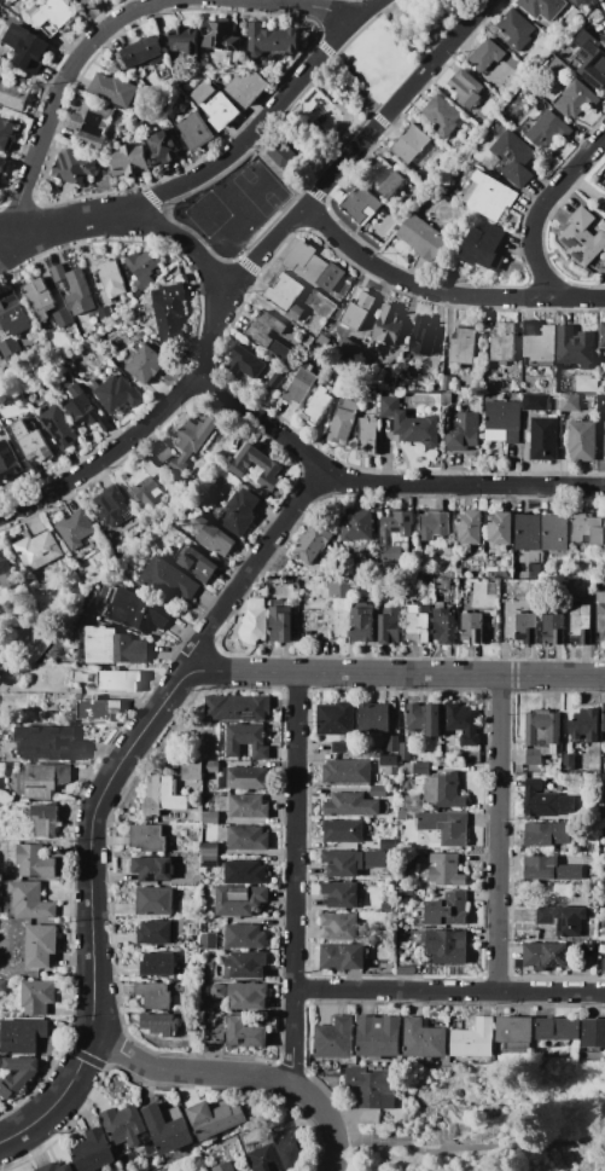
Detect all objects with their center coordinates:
building: (7, 2)
building: (576, 2)
road: (313, 7)
building: (543, 8)
building: (53, 16)
building: (516, 29)
building: (220, 36)
building: (181, 40)
building: (270, 41)
building: (27, 48)
road: (325, 48)
building: (142, 52)
building: (487, 54)
building: (235, 58)
building: (589, 59)
building: (142, 65)
building: (0, 71)
building: (0, 75)
road: (355, 81)
building: (245, 88)
building: (465, 88)
building: (114, 89)
road: (59, 92)
building: (202, 92)
building: (13, 97)
building: (180, 97)
building: (576, 99)
road: (285, 109)
building: (187, 110)
building: (219, 110)
building: (444, 117)
road: (379, 120)
building: (91, 124)
park: (321, 126)
building: (194, 131)
building: (548, 131)
building: (6, 135)
building: (118, 137)
building: (409, 143)
building: (163, 146)
building: (426, 152)
building: (281, 155)
building: (437, 157)
building: (514, 157)
building: (129, 160)
building: (2, 164)
road: (211, 164)
building: (75, 167)
road: (275, 169)
building: (388, 178)
building: (603, 178)
road: (314, 190)
building: (488, 196)
road: (151, 197)
building: (361, 204)
road: (541, 208)
building: (385, 210)
road: (274, 219)
road: (5, 233)
building: (423, 237)
building: (582, 238)
road: (184, 243)
building: (482, 243)
road: (246, 265)
building: (142, 268)
road: (248, 271)
building: (58, 272)
building: (319, 272)
building: (111, 279)
building: (258, 288)
building: (78, 292)
building: (284, 292)
building: (138, 294)
road: (440, 294)
building: (39, 297)
building: (356, 309)
building: (165, 313)
building: (295, 313)
building: (105, 314)
building: (13, 315)
building: (62, 318)
building: (388, 326)
building: (531, 327)
building: (263, 329)
building: (603, 335)
building: (423, 336)
building: (118, 341)
building: (324, 342)
building: (502, 342)
building: (575, 346)
building: (10, 347)
building: (464, 347)
building: (541, 348)
building: (347, 349)
building: (285, 352)
building: (145, 363)
building: (244, 363)
building: (409, 375)
building: (388, 378)
building: (274, 381)
building: (447, 382)
building: (489, 384)
building: (299, 388)
building: (372, 388)
building: (116, 392)
building: (446, 399)
building: (534, 402)
building: (569, 402)
building: (601, 404)
building: (316, 406)
building: (389, 406)
building: (8, 408)
building: (81, 408)
building: (502, 416)
building: (2, 419)
building: (104, 424)
building: (343, 424)
building: (59, 428)
building: (417, 429)
building: (464, 431)
building: (194, 435)
building: (367, 436)
building: (511, 437)
building: (543, 439)
building: (30, 440)
building: (582, 441)
building: (604, 441)
building: (163, 452)
building: (10, 463)
building: (178, 464)
building: (255, 468)
building: (145, 486)
road: (383, 488)
building: (114, 506)
building: (240, 512)
building: (356, 526)
building: (434, 526)
building: (500, 527)
building: (470, 528)
building: (76, 529)
building: (587, 529)
building: (528, 533)
building: (554, 534)
building: (395, 535)
building: (214, 538)
building: (312, 544)
building: (37, 550)
building: (196, 563)
building: (103, 564)
road: (251, 568)
building: (6, 572)
building: (459, 573)
building: (168, 581)
building: (289, 581)
building: (444, 585)
building: (384, 586)
building: (437, 586)
building: (450, 587)
building: (339, 589)
building: (427, 593)
building: (126, 605)
building: (149, 616)
building: (162, 616)
building: (600, 616)
building: (254, 622)
building: (280, 622)
building: (361, 622)
building: (417, 624)
building: (443, 625)
building: (389, 626)
building: (581, 626)
building: (470, 627)
building: (527, 628)
building: (554, 630)
building: (101, 644)
building: (132, 649)
road: (395, 673)
building: (120, 680)
building: (237, 708)
building: (100, 709)
building: (374, 718)
building: (336, 719)
building: (423, 719)
building: (604, 720)
building: (463, 724)
building: (584, 726)
building: (205, 729)
building: (542, 731)
building: (444, 737)
building: (246, 741)
building: (46, 743)
building: (392, 743)
building: (341, 747)
building: (405, 752)
building: (534, 756)
building: (389, 761)
building: (569, 763)
building: (198, 767)
building: (406, 767)
building: (423, 767)
building: (347, 771)
building: (391, 771)
building: (248, 778)
building: (42, 781)
building: (441, 790)
building: (378, 792)
building: (170, 795)
building: (153, 799)
building: (539, 800)
building: (354, 805)
building: (16, 806)
building: (249, 807)
building: (604, 811)
building: (401, 815)
building: (223, 816)
building: (194, 817)
building: (210, 817)
building: (45, 821)
building: (444, 827)
building: (343, 831)
road: (499, 834)
building: (546, 834)
building: (147, 837)
building: (248, 837)
building: (388, 844)
building: (209, 848)
building: (209, 860)
building: (35, 862)
building: (342, 863)
building: (153, 869)
building: (446, 869)
building: (549, 869)
building: (245, 873)
road: (295, 880)
building: (405, 892)
building: (341, 893)
building: (239, 899)
building: (30, 900)
building: (155, 902)
building: (603, 904)
building: (386, 906)
building: (447, 910)
building: (0, 911)
road: (92, 911)
building: (562, 920)
building: (341, 926)
building: (155, 932)
building: (603, 935)
building: (245, 937)
building: (210, 941)
building: (41, 945)
building: (447, 946)
building: (589, 947)
building: (545, 956)
building: (342, 957)
building: (157, 964)
building: (243, 966)
building: (407, 970)
building: (603, 972)
building: (2, 986)
building: (219, 991)
road: (449, 991)
building: (155, 995)
building: (248, 996)
building: (37, 997)
building: (159, 1024)
building: (558, 1028)
building: (516, 1030)
building: (244, 1033)
building: (593, 1033)
building: (22, 1036)
building: (378, 1037)
building: (335, 1038)
building: (424, 1038)
building: (473, 1038)
building: (21, 1063)
building: (25, 1076)
building: (0, 1077)
road: (240, 1079)
building: (11, 1086)
building: (372, 1088)
road: (442, 1100)
road: (425, 1106)
building: (214, 1118)
park: (490, 1123)
building: (123, 1125)
building: (167, 1127)
building: (292, 1147)
road: (470, 1147)
building: (93, 1152)
road: (591, 1156)
building: (264, 1159)
building: (56, 1167)
building: (222, 1167)
building: (162, 1170)

